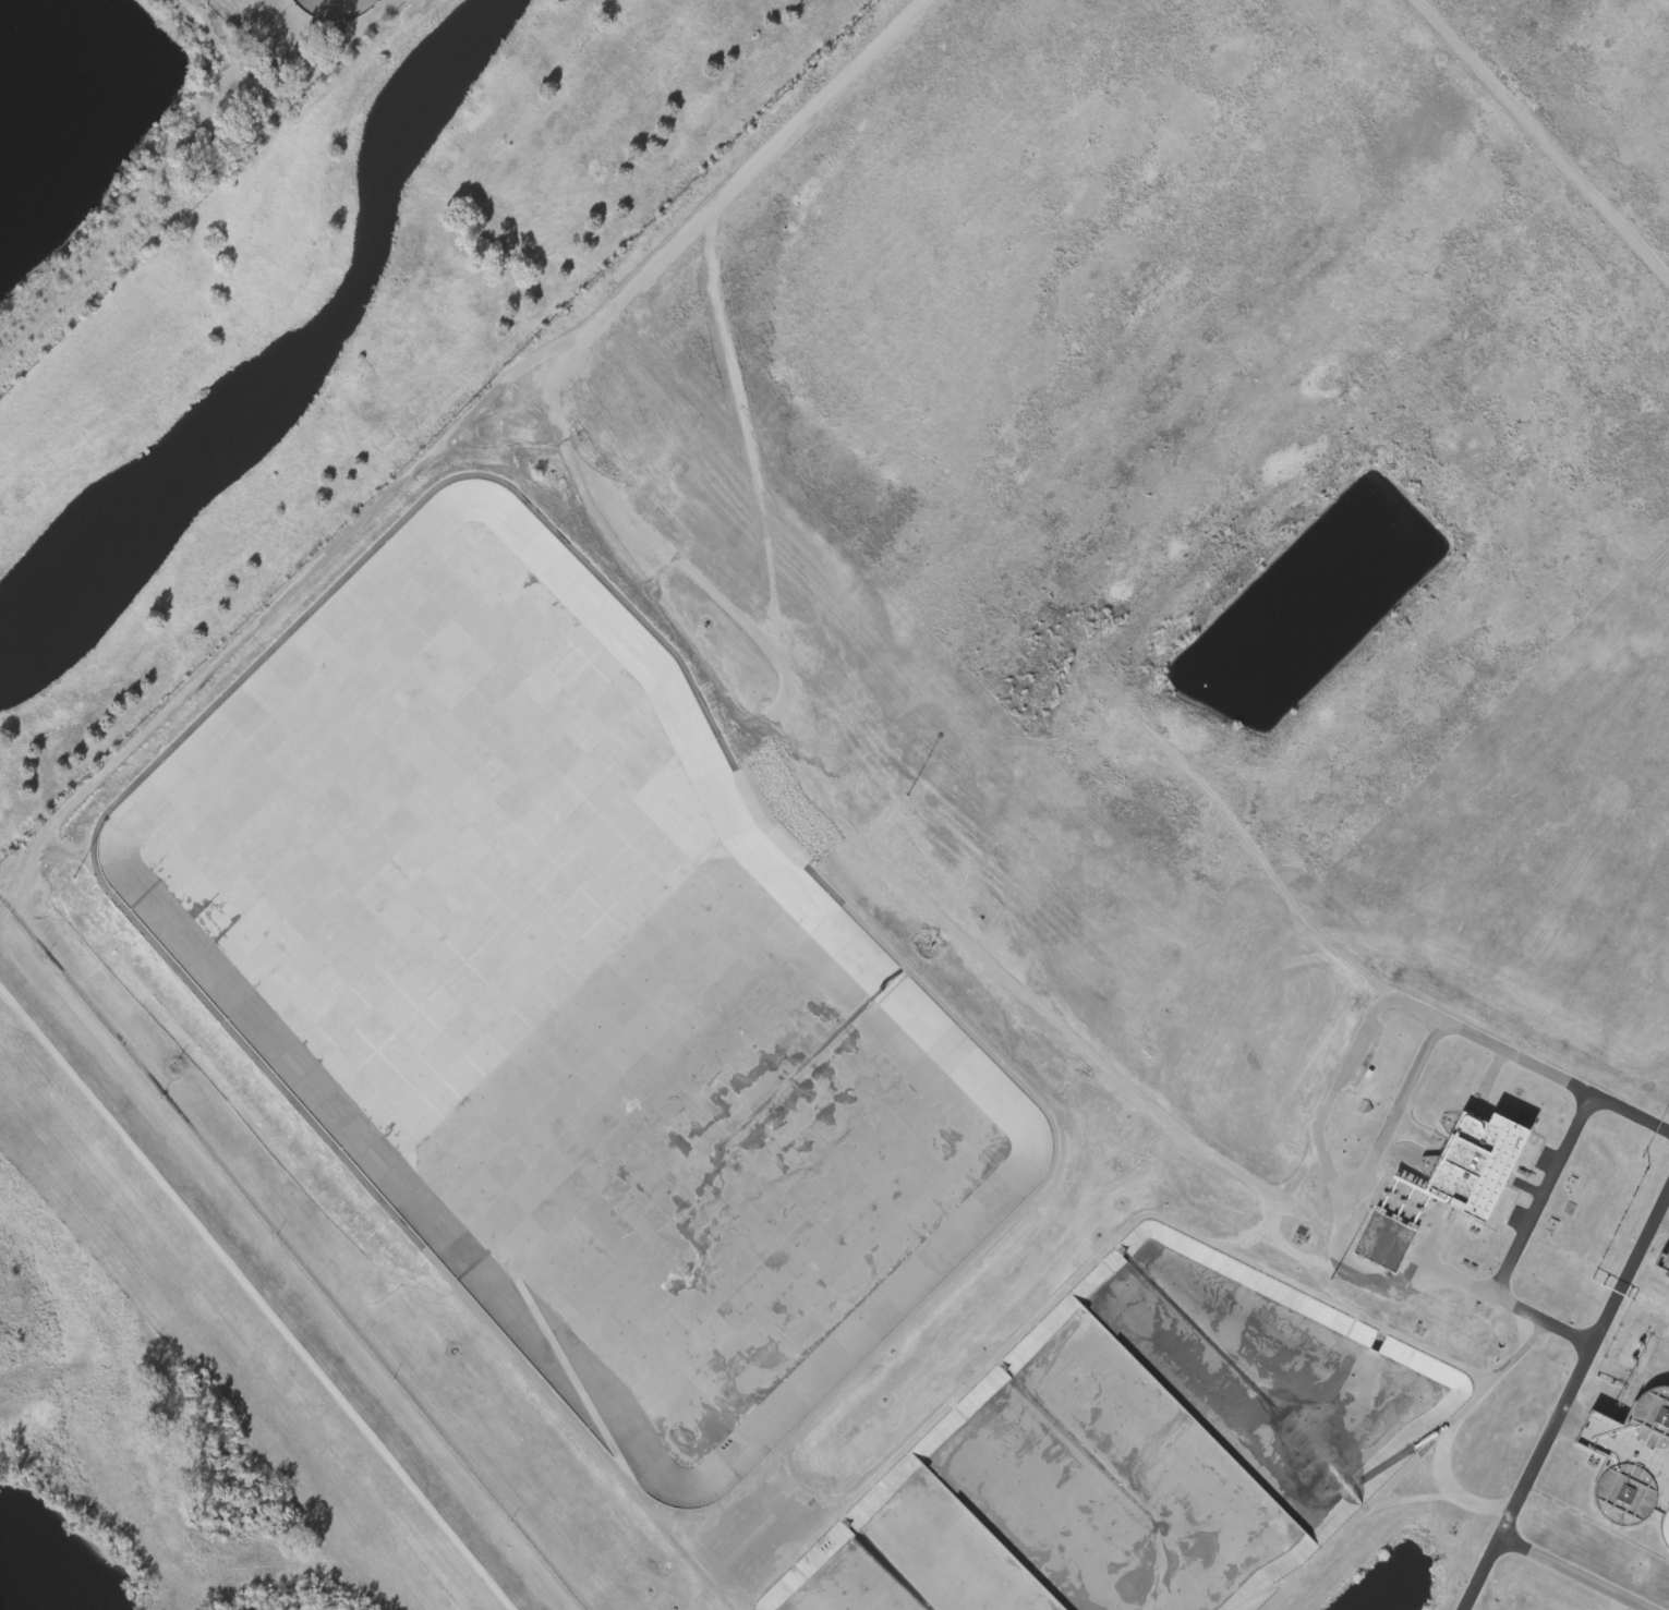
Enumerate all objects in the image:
road: (1540, 141)
road: (449, 457)
wastewater plant: (886, 799)
building: (1476, 1161)
road: (1532, 1207)
building: (1665, 1262)
road: (1460, 1280)
road: (256, 1294)
road: (1548, 1437)
building: (1633, 1461)
road: (1403, 1467)
road: (1480, 1573)
road: (1623, 1605)

